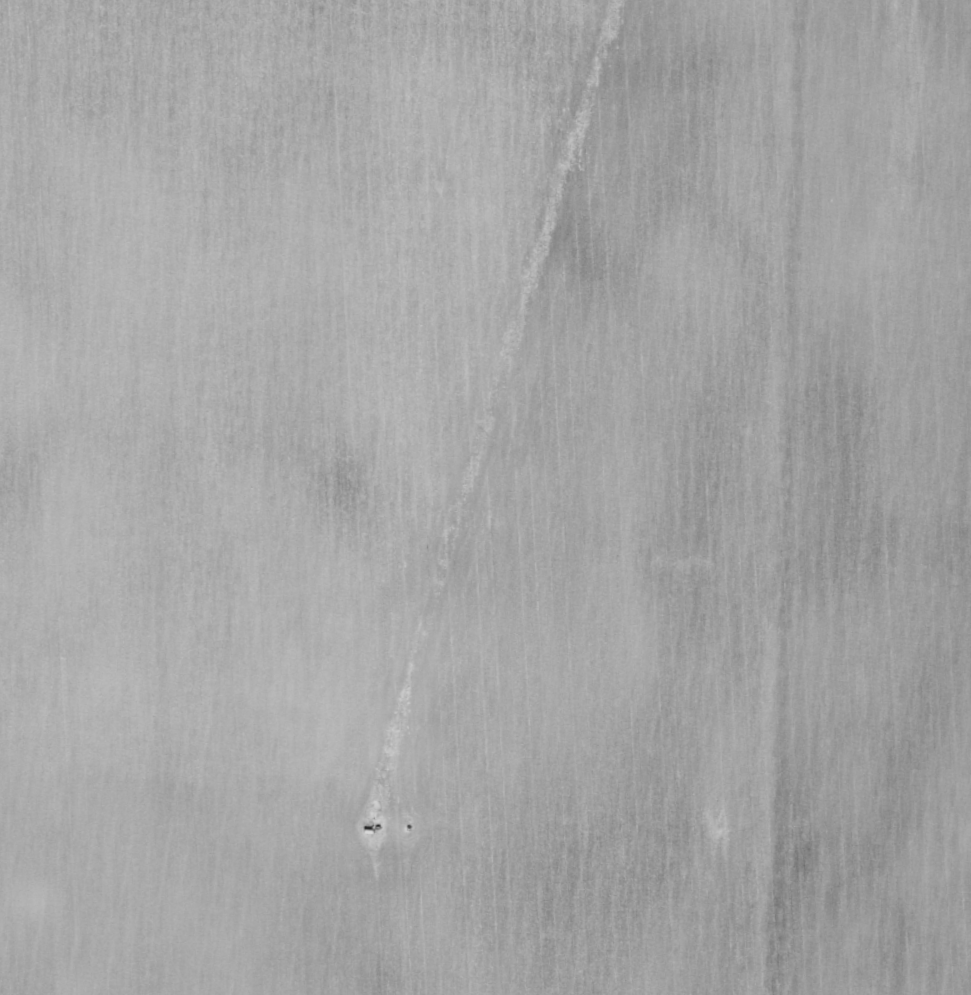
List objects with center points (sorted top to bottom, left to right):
road: (768, 497)

